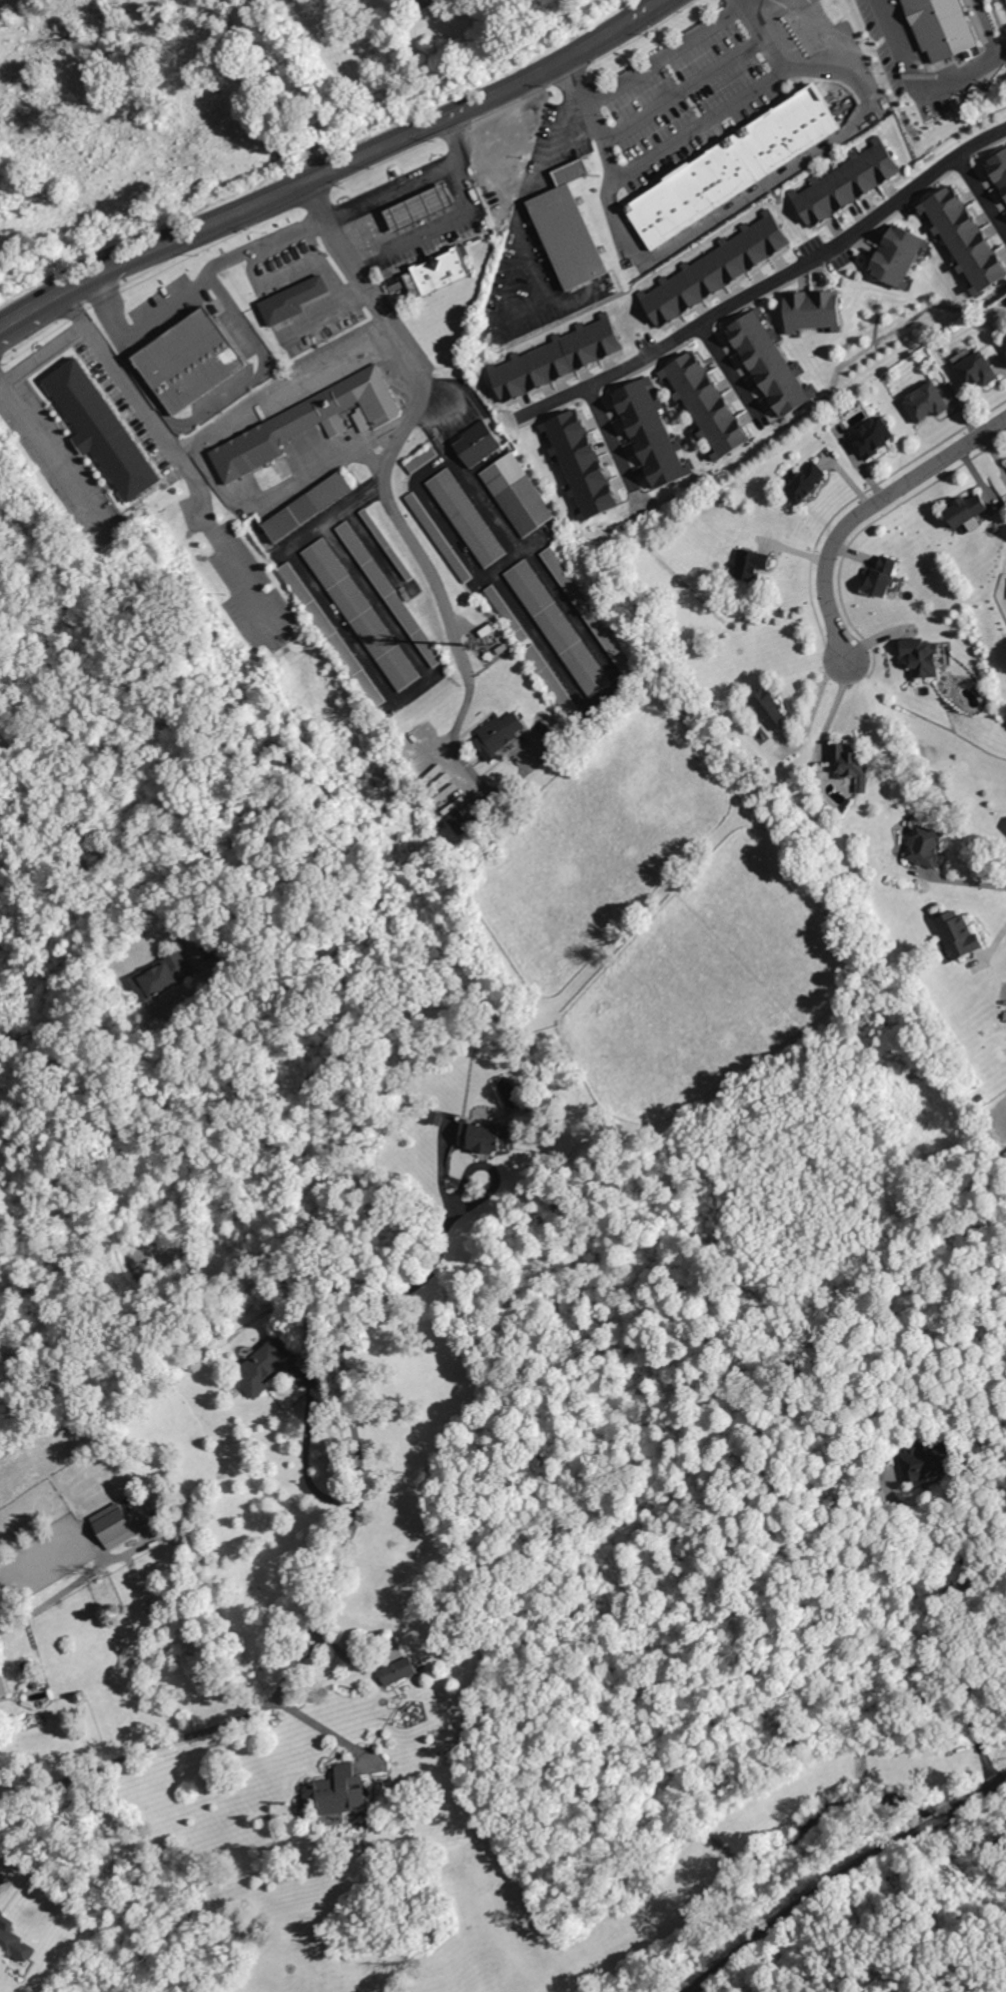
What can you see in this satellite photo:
road: (755, 0)
building: (948, 6)
road: (253, 14)
road: (648, 64)
road: (922, 83)
road: (272, 84)
road: (701, 126)
road: (457, 136)
road: (374, 145)
building: (510, 146)
building: (731, 164)
building: (996, 170)
building: (576, 172)
road: (465, 178)
building: (842, 183)
road: (980, 197)
building: (419, 206)
building: (573, 236)
building: (962, 241)
building: (892, 257)
road: (531, 261)
building: (717, 268)
building: (445, 272)
road: (76, 283)
road: (775, 283)
road: (195, 286)
building: (296, 299)
road: (71, 306)
road: (30, 308)
building: (809, 311)
building: (1004, 338)
road: (41, 349)
building: (188, 354)
building: (557, 357)
building: (766, 364)
road: (264, 369)
building: (975, 369)
road: (728, 374)
road: (144, 377)
building: (925, 401)
building: (702, 404)
building: (316, 421)
building: (106, 428)
road: (610, 433)
building: (651, 433)
building: (872, 436)
road: (379, 440)
building: (482, 443)
road: (48, 445)
road: (194, 445)
road: (183, 448)
road: (397, 450)
building: (424, 460)
road: (181, 462)
building: (581, 462)
building: (805, 482)
building: (522, 494)
road: (862, 506)
building: (312, 507)
building: (966, 511)
building: (469, 518)
building: (442, 537)
building: (390, 546)
building: (749, 564)
building: (880, 577)
building: (392, 593)
building: (510, 613)
building: (362, 614)
building: (594, 614)
road: (463, 625)
building: (560, 627)
building: (488, 629)
building: (335, 633)
building: (501, 647)
building: (920, 656)
building: (554, 681)
road: (811, 707)
road: (830, 707)
building: (770, 709)
building: (502, 734)
building: (850, 764)
building: (464, 823)
building: (924, 846)
road: (961, 880)
building: (957, 933)
building: (162, 978)
building: (436, 1119)
building: (367, 1128)
building: (487, 1137)
road: (464, 1174)
building: (322, 1322)
building: (267, 1368)
road: (305, 1461)
building: (928, 1461)
building: (115, 1527)
road: (53, 1598)
road: (317, 1609)
road: (975, 1630)
building: (28, 1667)
building: (398, 1671)
building: (35, 1685)
building: (0, 1696)
building: (39, 1706)
road: (324, 1729)
building: (338, 1791)
road: (843, 1877)
building: (14, 1941)

